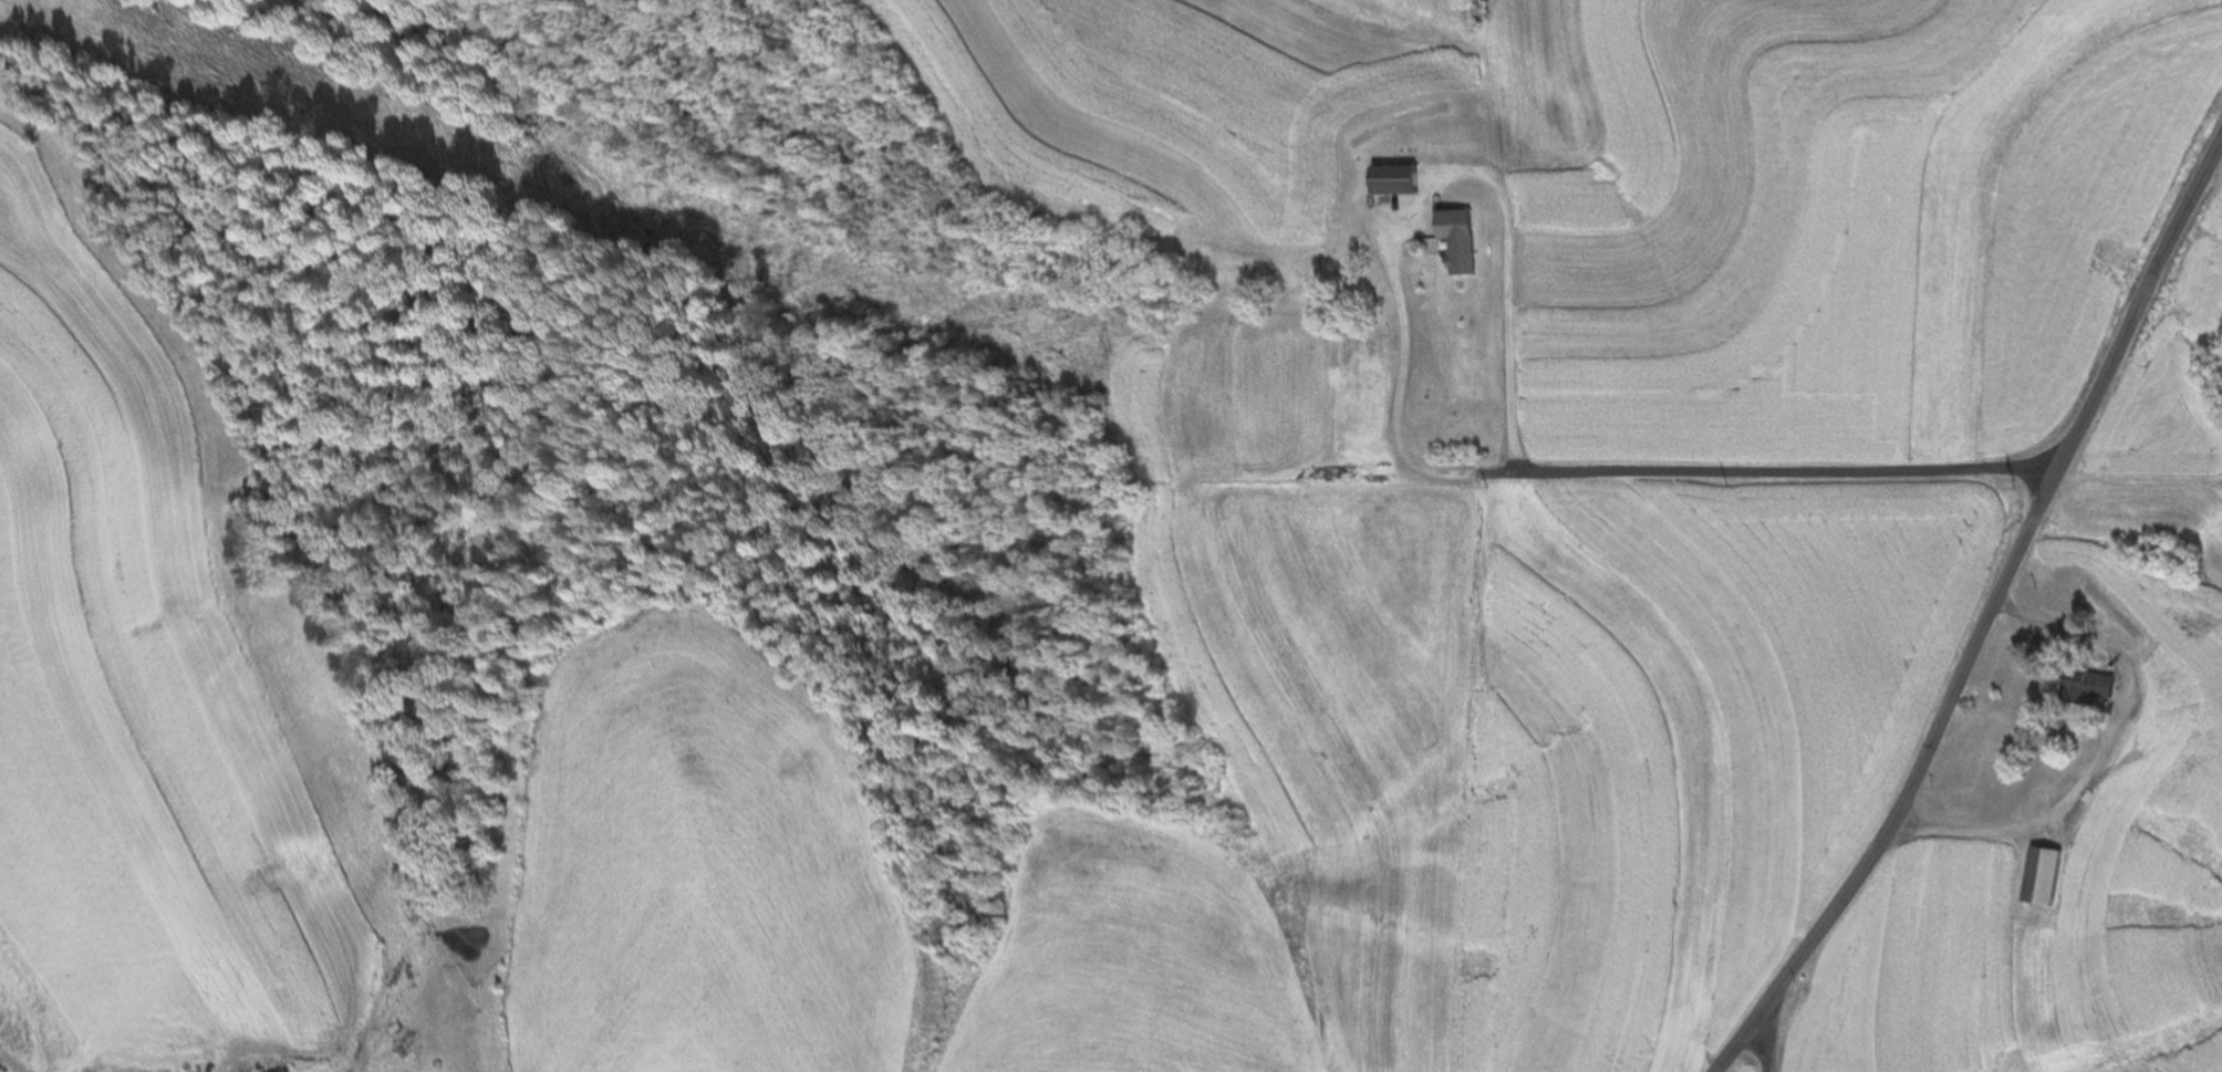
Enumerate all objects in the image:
road: (1419, 198)
power tower: (1112, 360)
road: (1771, 477)
power tower: (2008, 483)
power tower: (1481, 488)
road: (1979, 616)
road: (2096, 746)
road: (1765, 1042)

